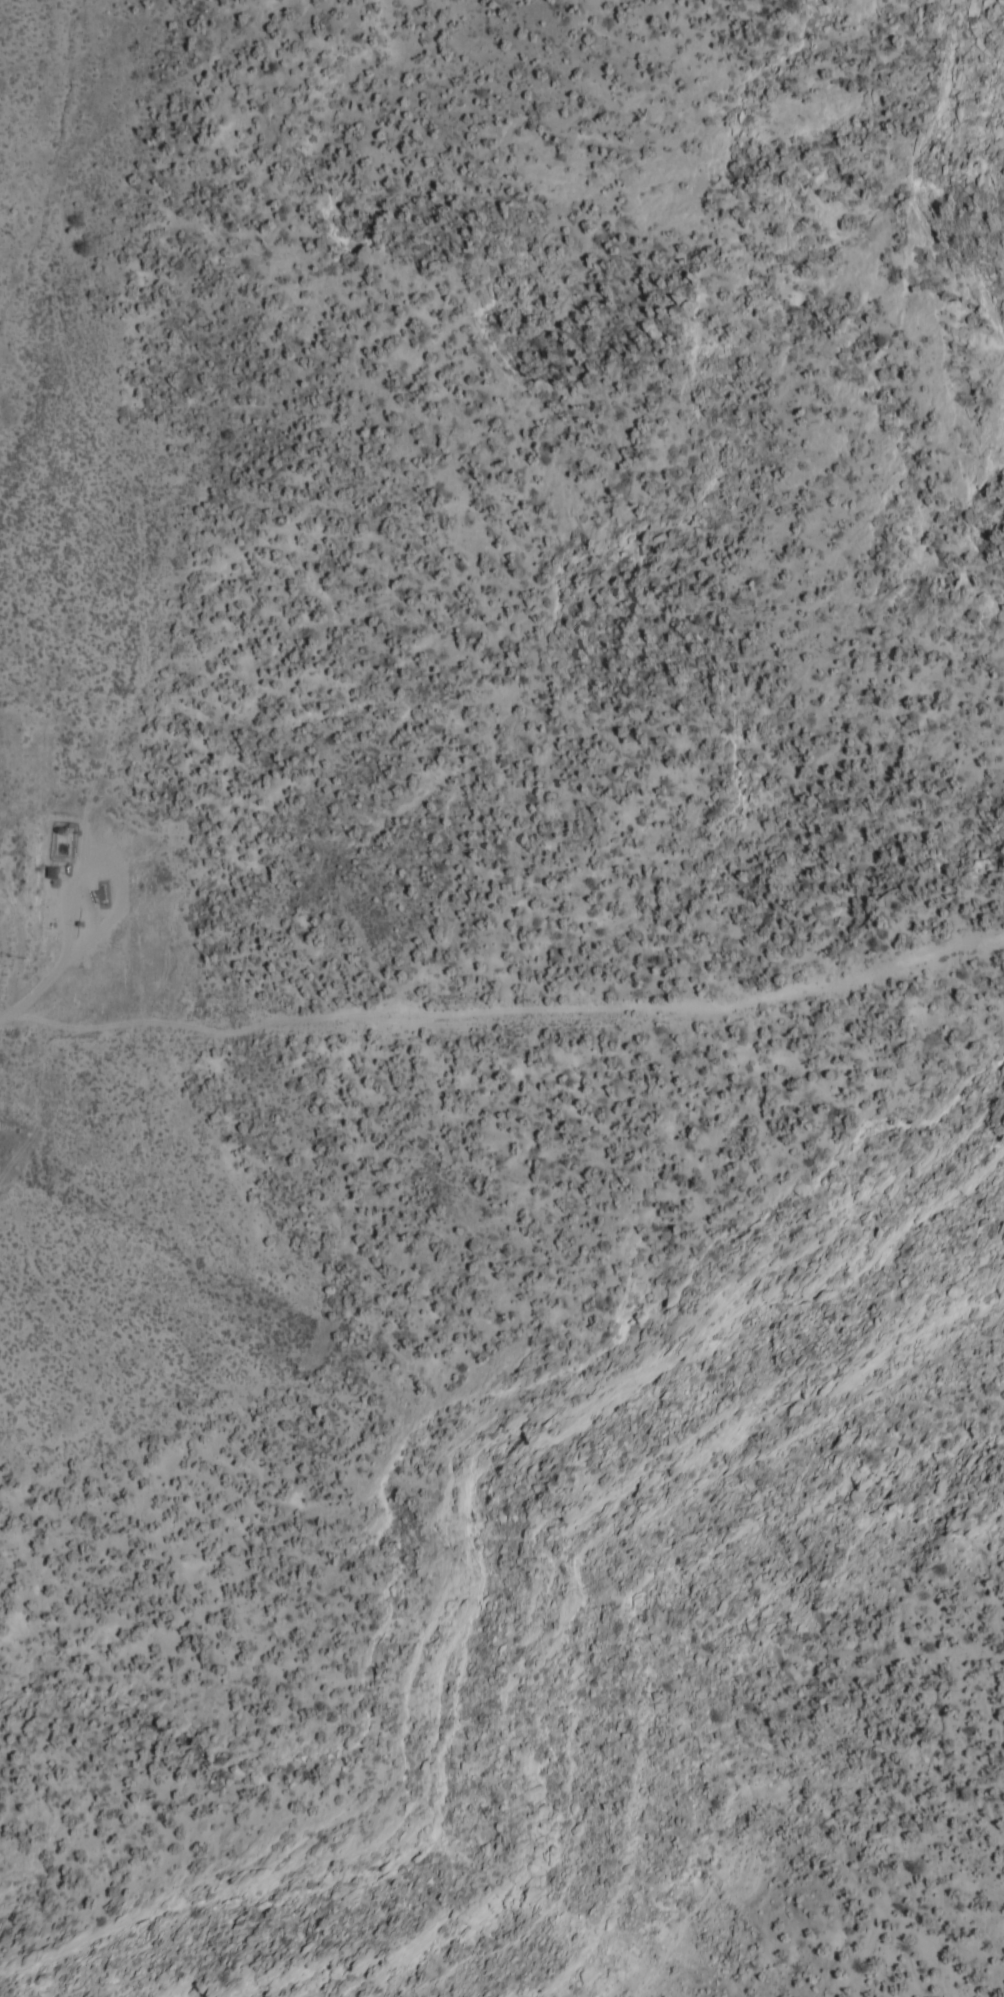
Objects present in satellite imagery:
road: (37, 963)

